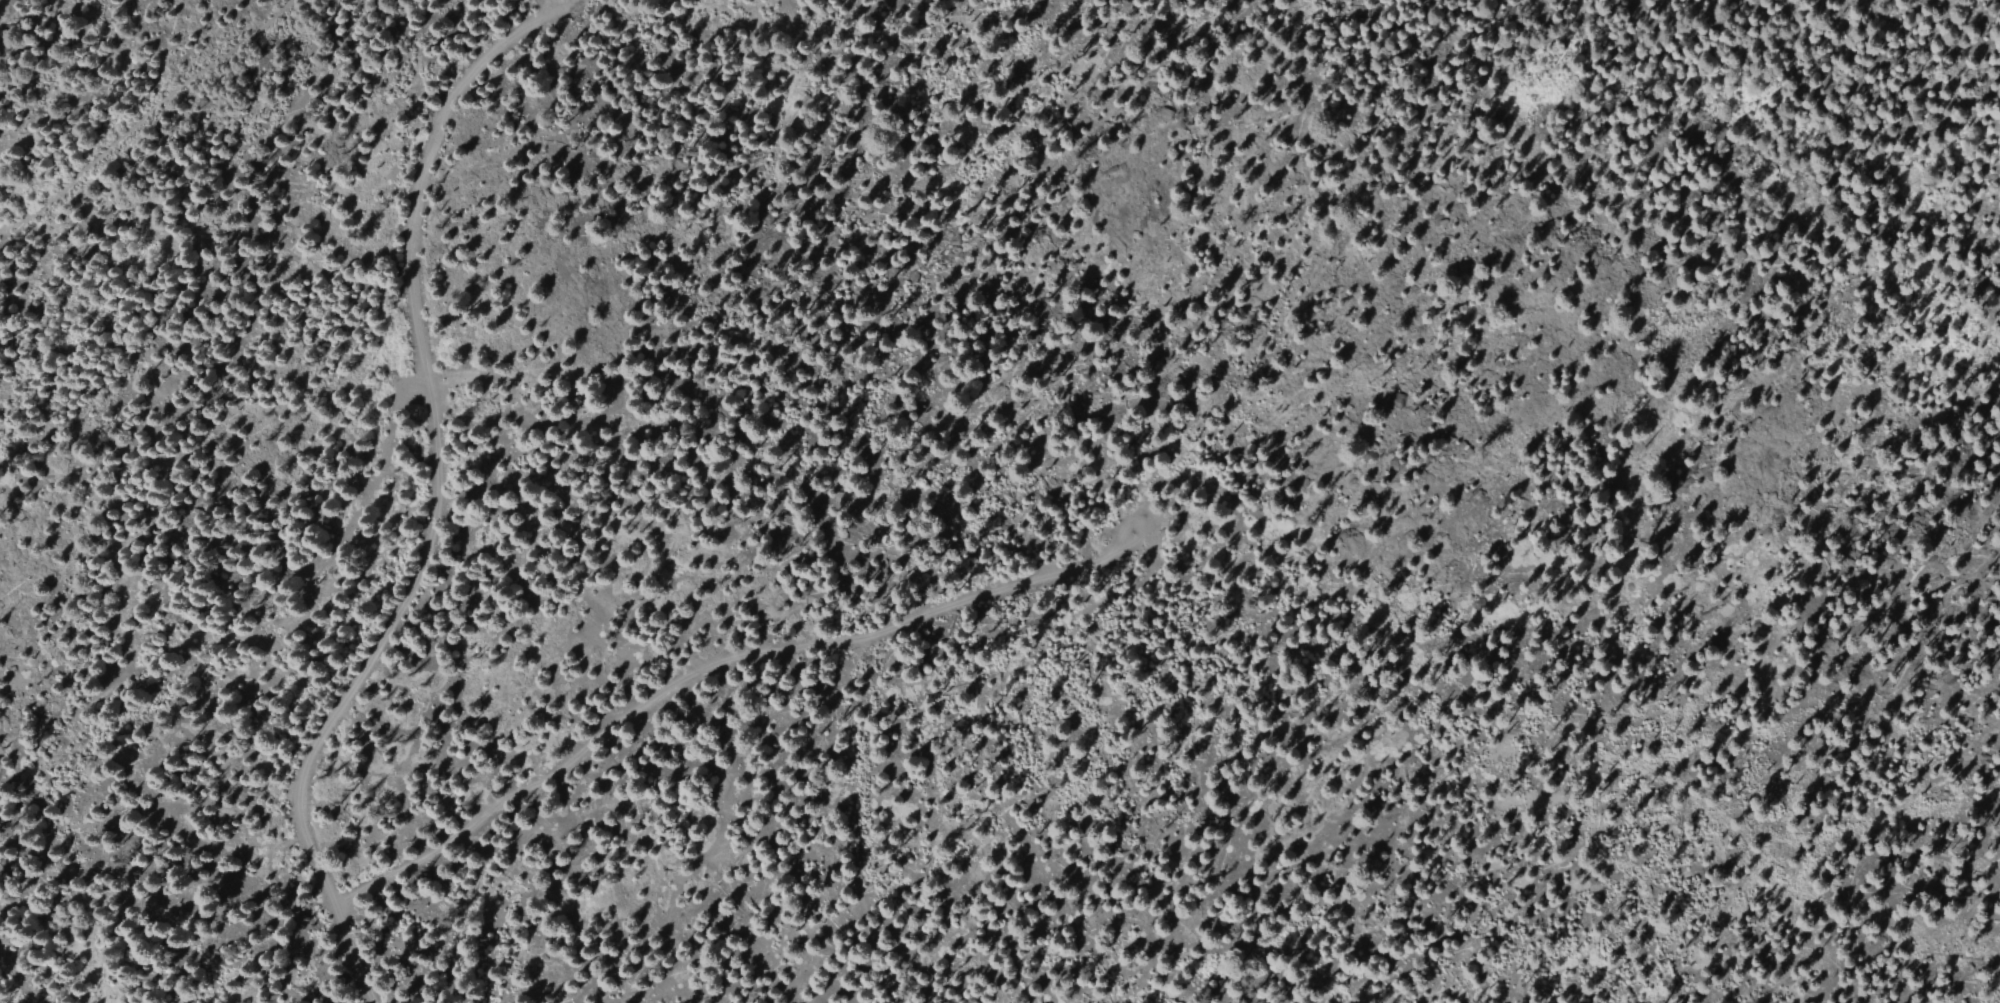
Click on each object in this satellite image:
road: (575, 10)
road: (145, 111)
road: (421, 486)

